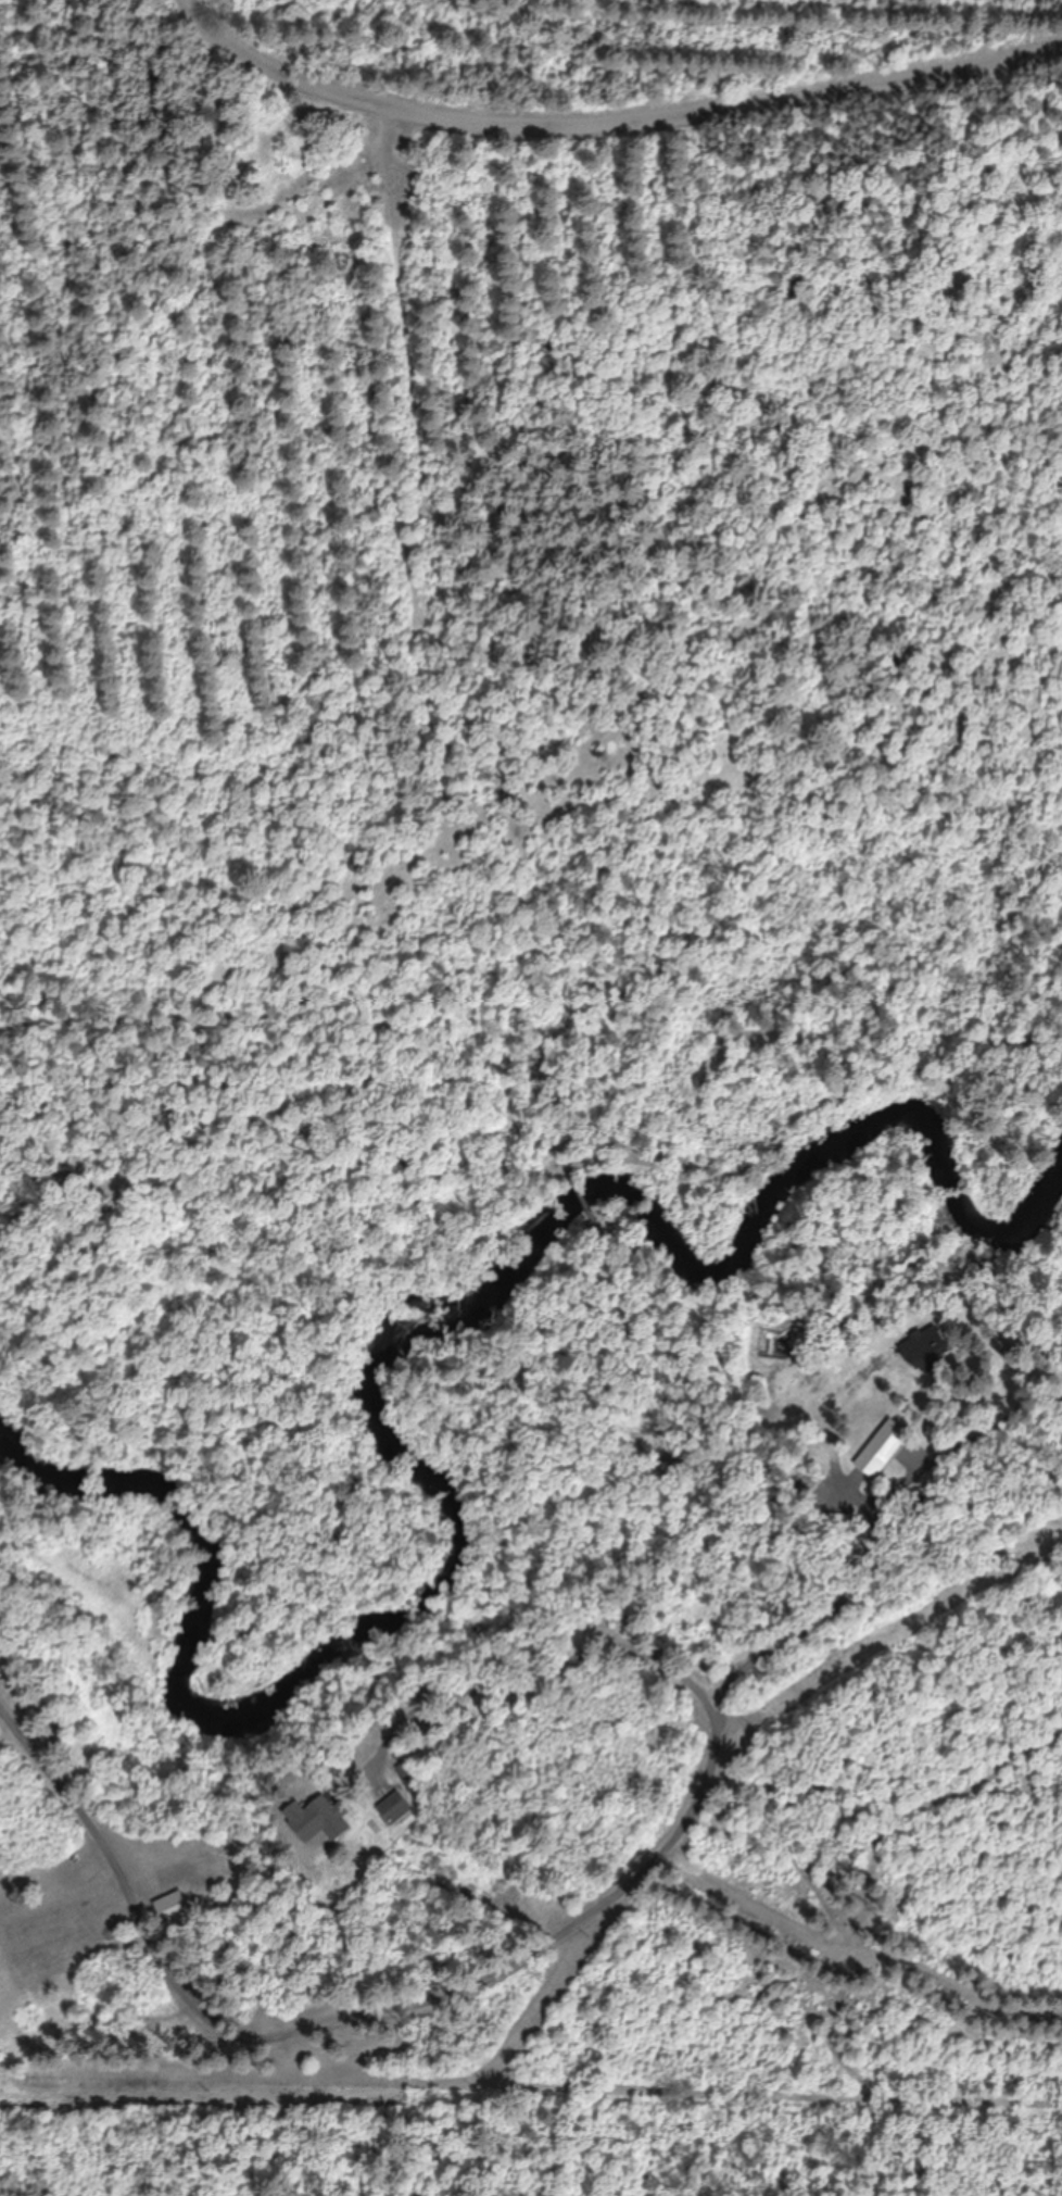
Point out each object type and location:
road: (620, 111)
building: (936, 1351)
river: (415, 1364)
building: (889, 1441)
road: (554, 1673)
building: (408, 1778)
building: (395, 1808)
building: (331, 1817)
building: (173, 1908)
road: (329, 2005)

